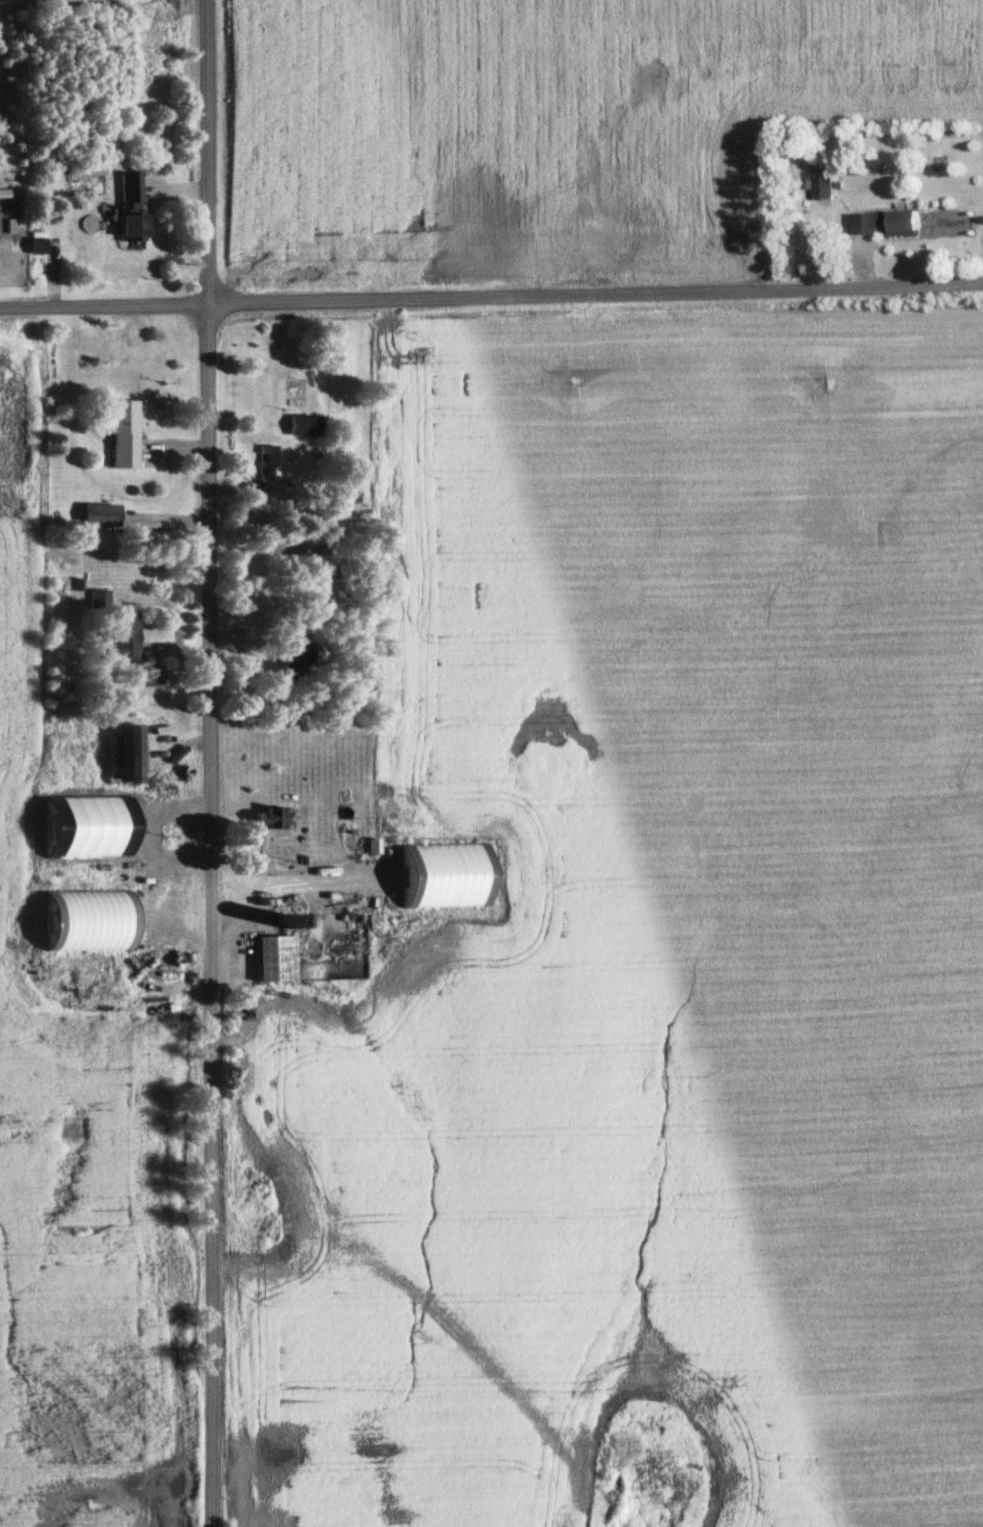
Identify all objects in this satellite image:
building: (822, 187)
building: (128, 209)
building: (887, 222)
building: (33, 244)
road: (491, 303)
building: (302, 424)
building: (120, 432)
building: (266, 462)
building: (96, 514)
building: (95, 597)
building: (121, 638)
building: (292, 662)
building: (146, 674)
building: (121, 750)
road: (212, 763)
building: (265, 816)
building: (89, 831)
building: (351, 831)
road: (272, 898)
building: (333, 898)
building: (82, 920)
building: (272, 956)

